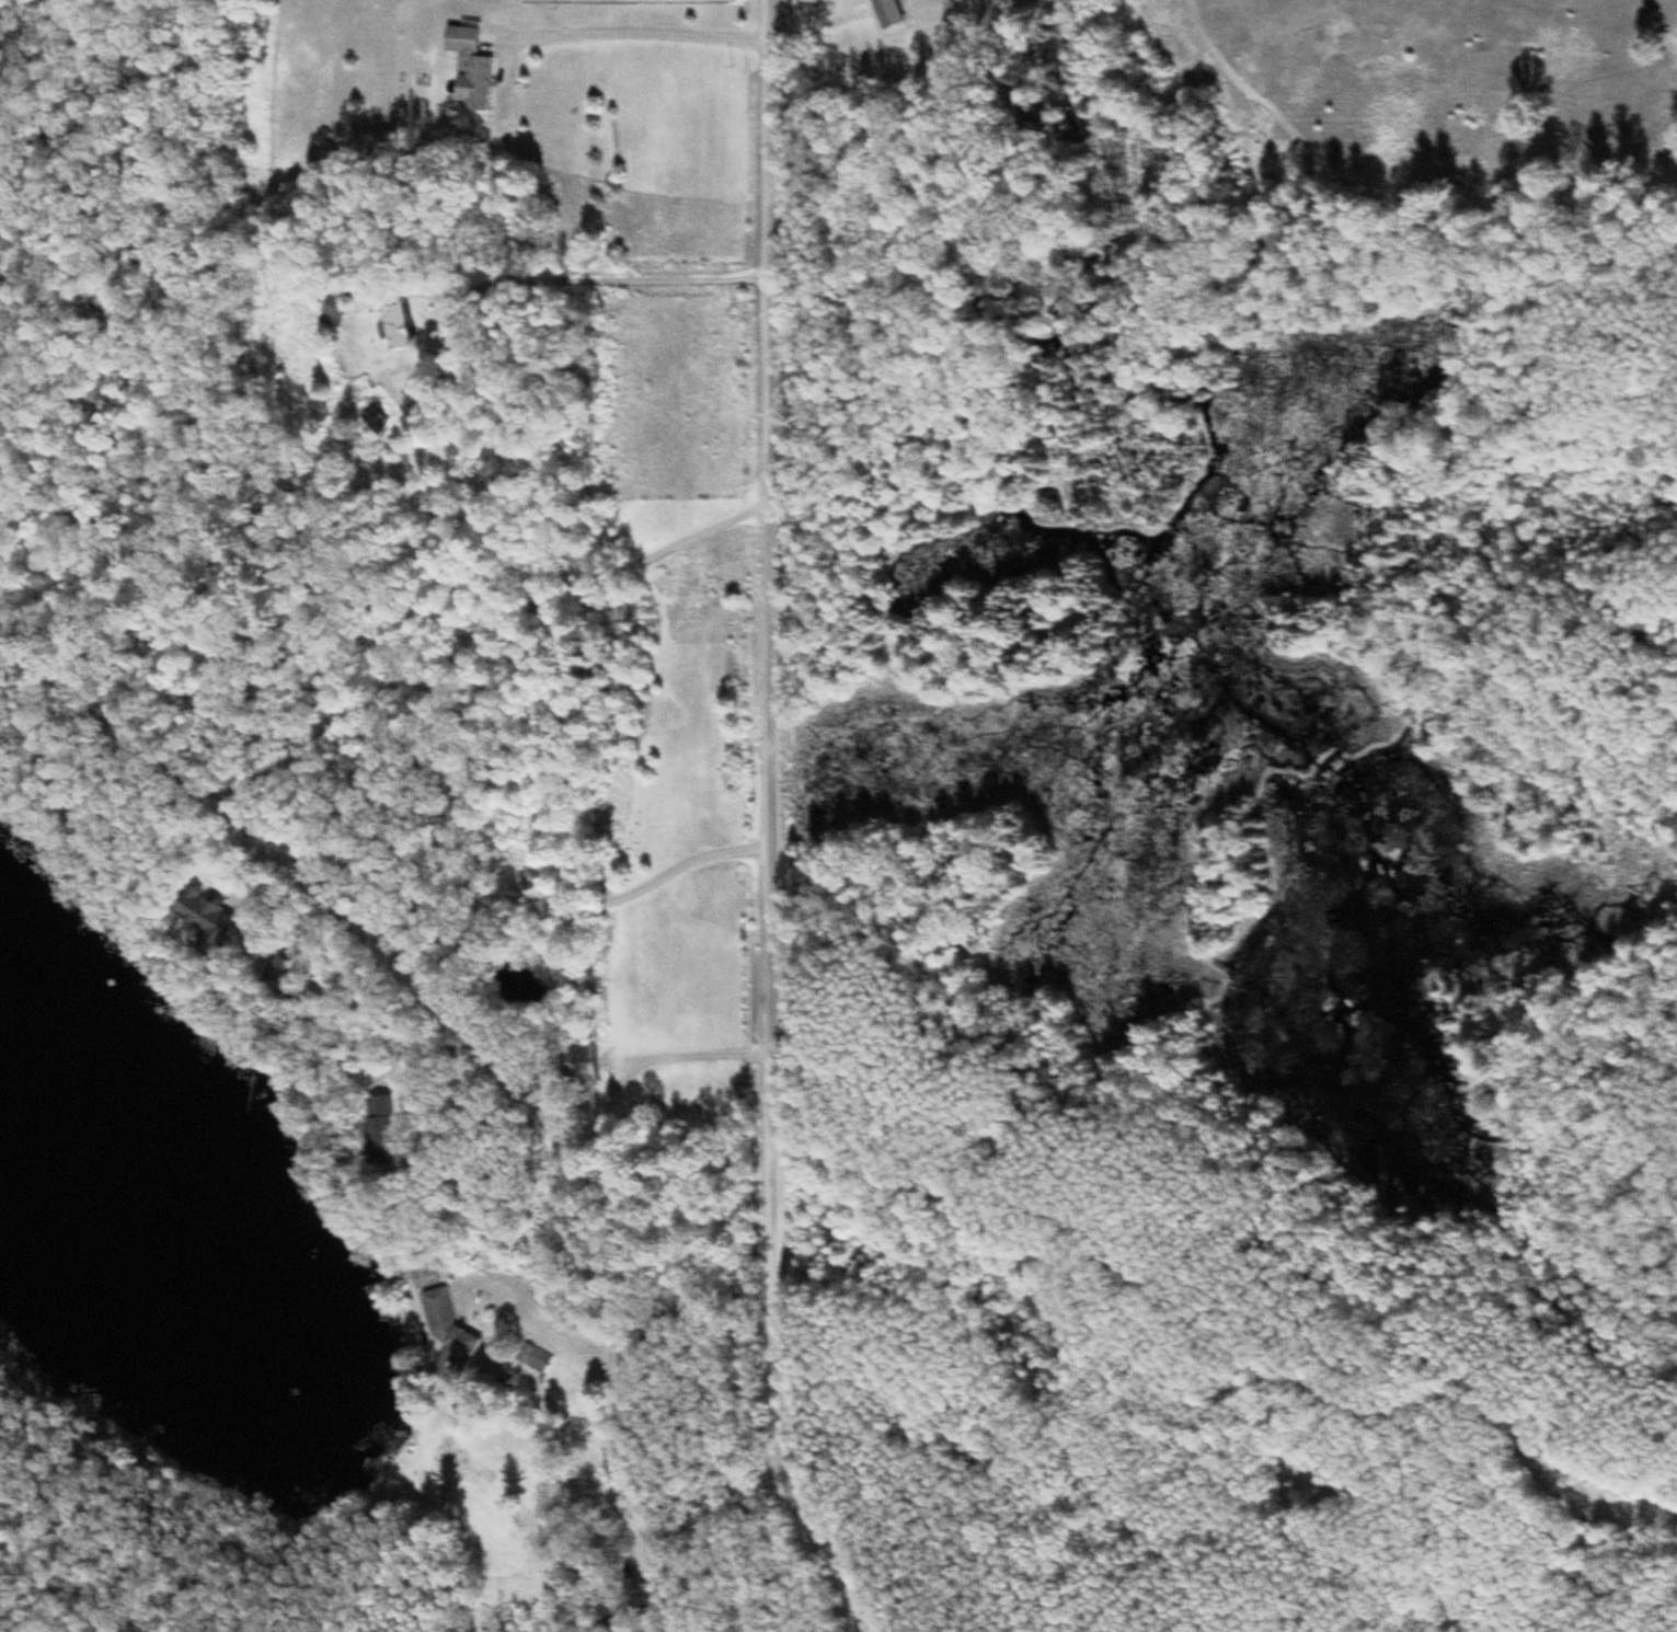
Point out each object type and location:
building: (470, 70)
building: (334, 309)
building: (395, 330)
building: (375, 423)
road: (367, 749)
road: (759, 824)
building: (206, 924)
building: (279, 976)
building: (579, 1066)
building: (380, 1134)
building: (449, 1336)
building: (536, 1360)
road: (653, 1506)

